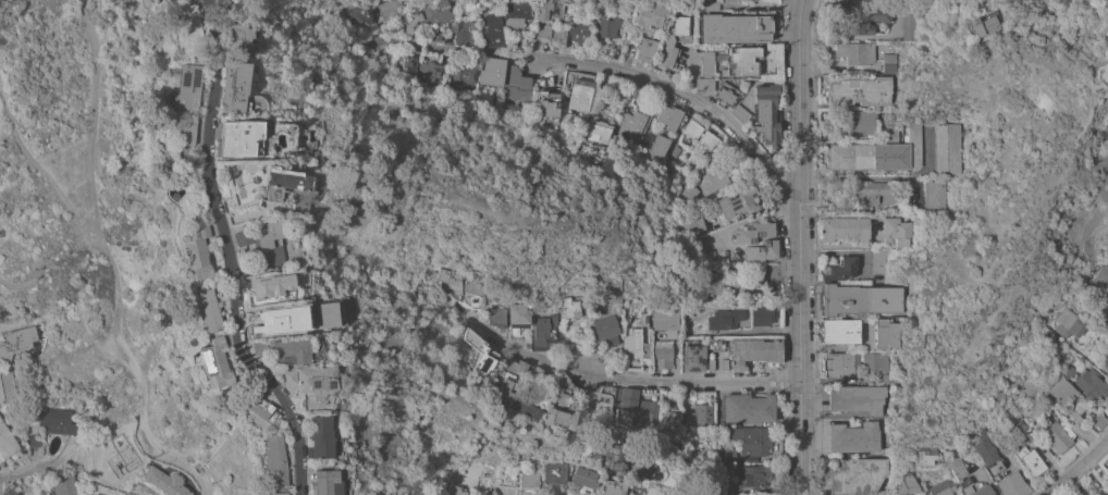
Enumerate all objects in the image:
building: (169, 0)
building: (727, 0)
building: (740, 0)
road: (211, 4)
building: (236, 4)
building: (711, 5)
building: (389, 10)
building: (550, 10)
building: (430, 13)
building: (517, 13)
building: (348, 15)
building: (649, 15)
building: (864, 20)
building: (909, 23)
building: (679, 25)
building: (977, 25)
building: (395, 26)
building: (611, 27)
building: (184, 28)
building: (735, 28)
building: (493, 29)
building: (544, 32)
building: (465, 33)
building: (434, 34)
building: (580, 34)
building: (235, 39)
road: (454, 47)
building: (647, 49)
building: (855, 51)
building: (668, 52)
building: (743, 60)
building: (407, 62)
building: (889, 62)
building: (707, 63)
building: (493, 71)
building: (724, 72)
building: (435, 74)
building: (464, 74)
building: (541, 82)
building: (705, 84)
building: (517, 85)
building: (185, 88)
building: (233, 88)
building: (860, 90)
building: (580, 91)
building: (727, 94)
road: (684, 95)
building: (547, 101)
building: (739, 113)
building: (765, 115)
building: (668, 116)
building: (861, 122)
building: (633, 123)
building: (185, 129)
building: (599, 129)
building: (700, 134)
building: (891, 134)
building: (254, 139)
building: (947, 148)
building: (658, 150)
building: (877, 153)
road: (38, 165)
building: (237, 180)
building: (712, 181)
road: (881, 181)
building: (283, 183)
building: (687, 191)
building: (876, 193)
building: (935, 195)
building: (737, 199)
building: (692, 224)
building: (845, 228)
road: (99, 230)
building: (896, 231)
building: (264, 240)
building: (758, 242)
building: (194, 247)
road: (798, 247)
road: (227, 257)
building: (878, 260)
building: (840, 269)
building: (1101, 277)
building: (680, 281)
building: (448, 282)
building: (713, 283)
building: (741, 285)
building: (269, 286)
building: (473, 293)
building: (859, 299)
building: (570, 308)
building: (208, 310)
building: (761, 314)
building: (496, 317)
building: (665, 318)
building: (517, 319)
building: (644, 319)
building: (726, 319)
building: (269, 320)
building: (1067, 322)
building: (544, 331)
building: (606, 331)
building: (839, 331)
building: (886, 333)
building: (16, 342)
building: (635, 345)
building: (259, 346)
road: (517, 348)
building: (291, 350)
building: (749, 350)
building: (662, 354)
building: (480, 356)
building: (693, 357)
building: (876, 362)
building: (216, 363)
building: (711, 363)
building: (724, 363)
building: (840, 363)
building: (1105, 363)
building: (1069, 372)
building: (887, 376)
building: (287, 378)
building: (504, 378)
building: (316, 379)
building: (538, 380)
road: (692, 380)
building: (1092, 384)
building: (7, 386)
building: (561, 391)
building: (1062, 391)
building: (857, 399)
building: (599, 401)
building: (257, 403)
building: (638, 405)
building: (308, 406)
building: (748, 407)
building: (526, 408)
building: (1106, 409)
building: (698, 413)
building: (557, 417)
building: (1075, 417)
building: (1099, 420)
building: (58, 421)
building: (494, 422)
building: (669, 425)
building: (1023, 426)
building: (1059, 436)
building: (319, 437)
building: (853, 437)
building: (1014, 438)
building: (35, 440)
building: (750, 440)
building: (7, 442)
building: (985, 448)
building: (728, 455)
building: (926, 456)
building: (1030, 456)
building: (610, 458)
building: (274, 459)
road: (186, 463)
building: (956, 467)
building: (647, 469)
road: (1075, 469)
building: (553, 473)
building: (855, 475)
building: (751, 477)
building: (583, 478)
building: (508, 480)
building: (165, 481)
building: (529, 481)
building: (328, 483)
building: (1012, 484)
building: (62, 485)
building: (907, 485)
building: (611, 487)
building: (941, 487)
building: (455, 490)
building: (978, 491)
building: (272, 493)
building: (98, 494)
building: (100, 494)
building: (476, 494)
building: (1103, 494)

